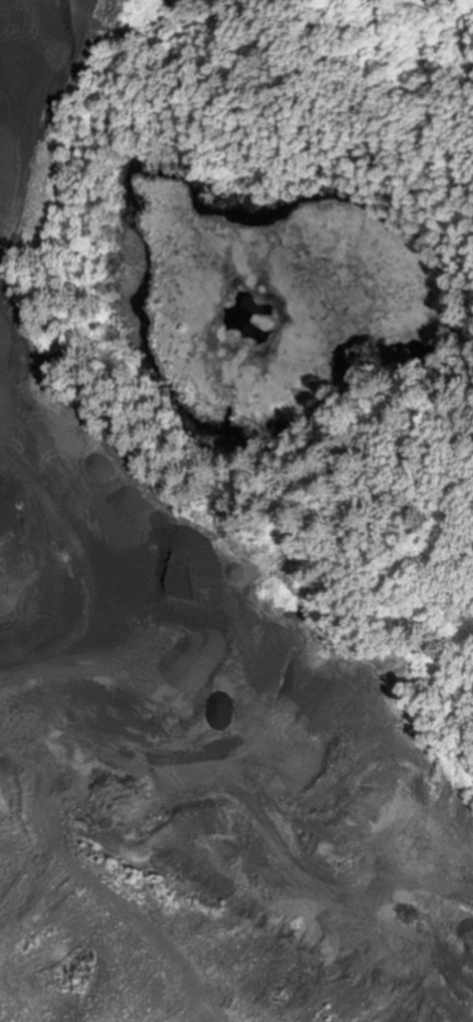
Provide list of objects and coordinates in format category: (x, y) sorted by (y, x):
road: (37, 31)
quarry: (53, 89)
quarry: (236, 511)
quarry: (216, 746)

